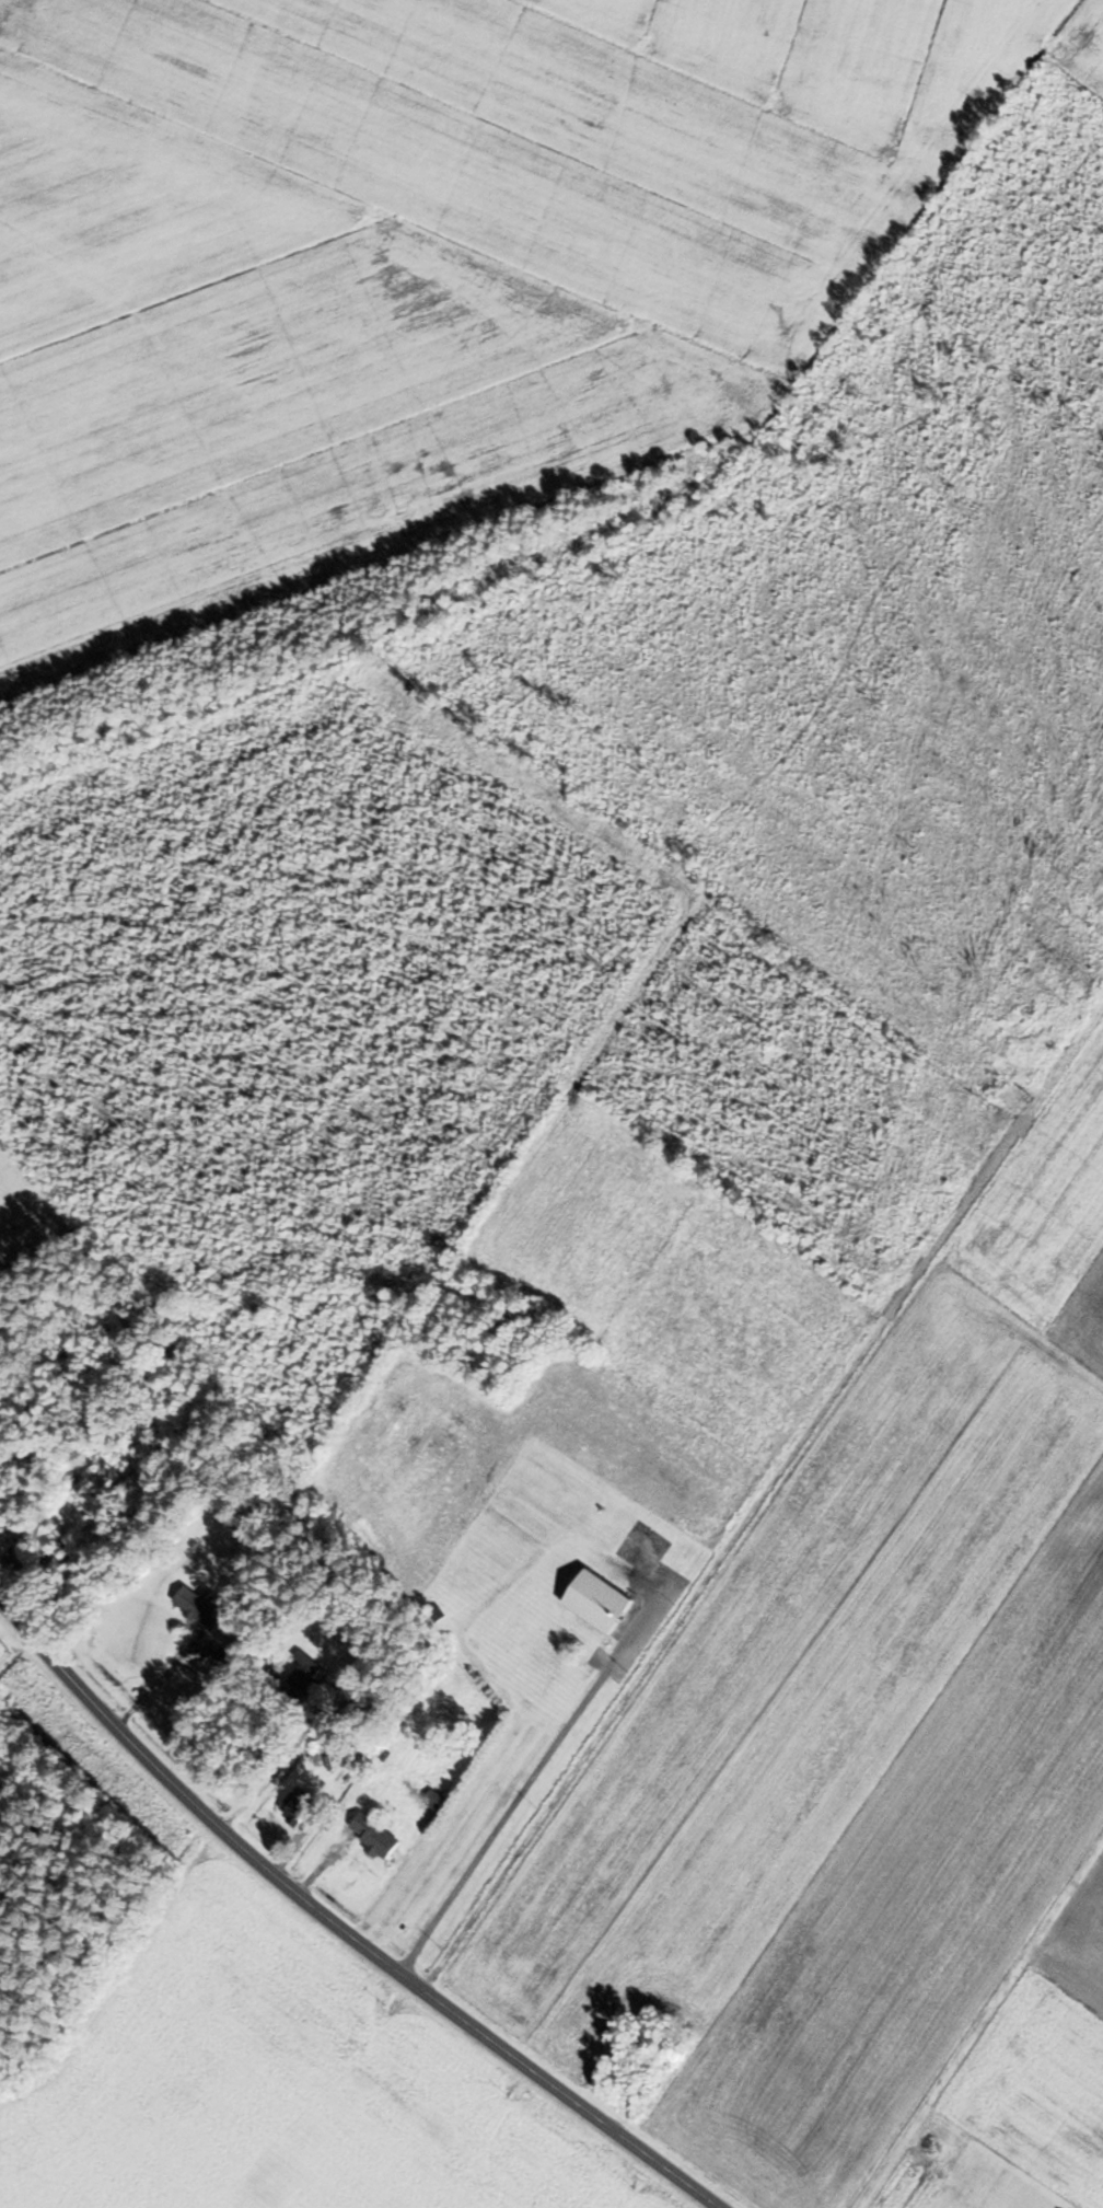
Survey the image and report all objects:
building: (597, 1600)
building: (196, 1606)
building: (437, 1615)
building: (304, 1671)
building: (432, 1799)
building: (297, 1805)
building: (374, 1836)
road: (333, 1929)
road: (982, 2028)

